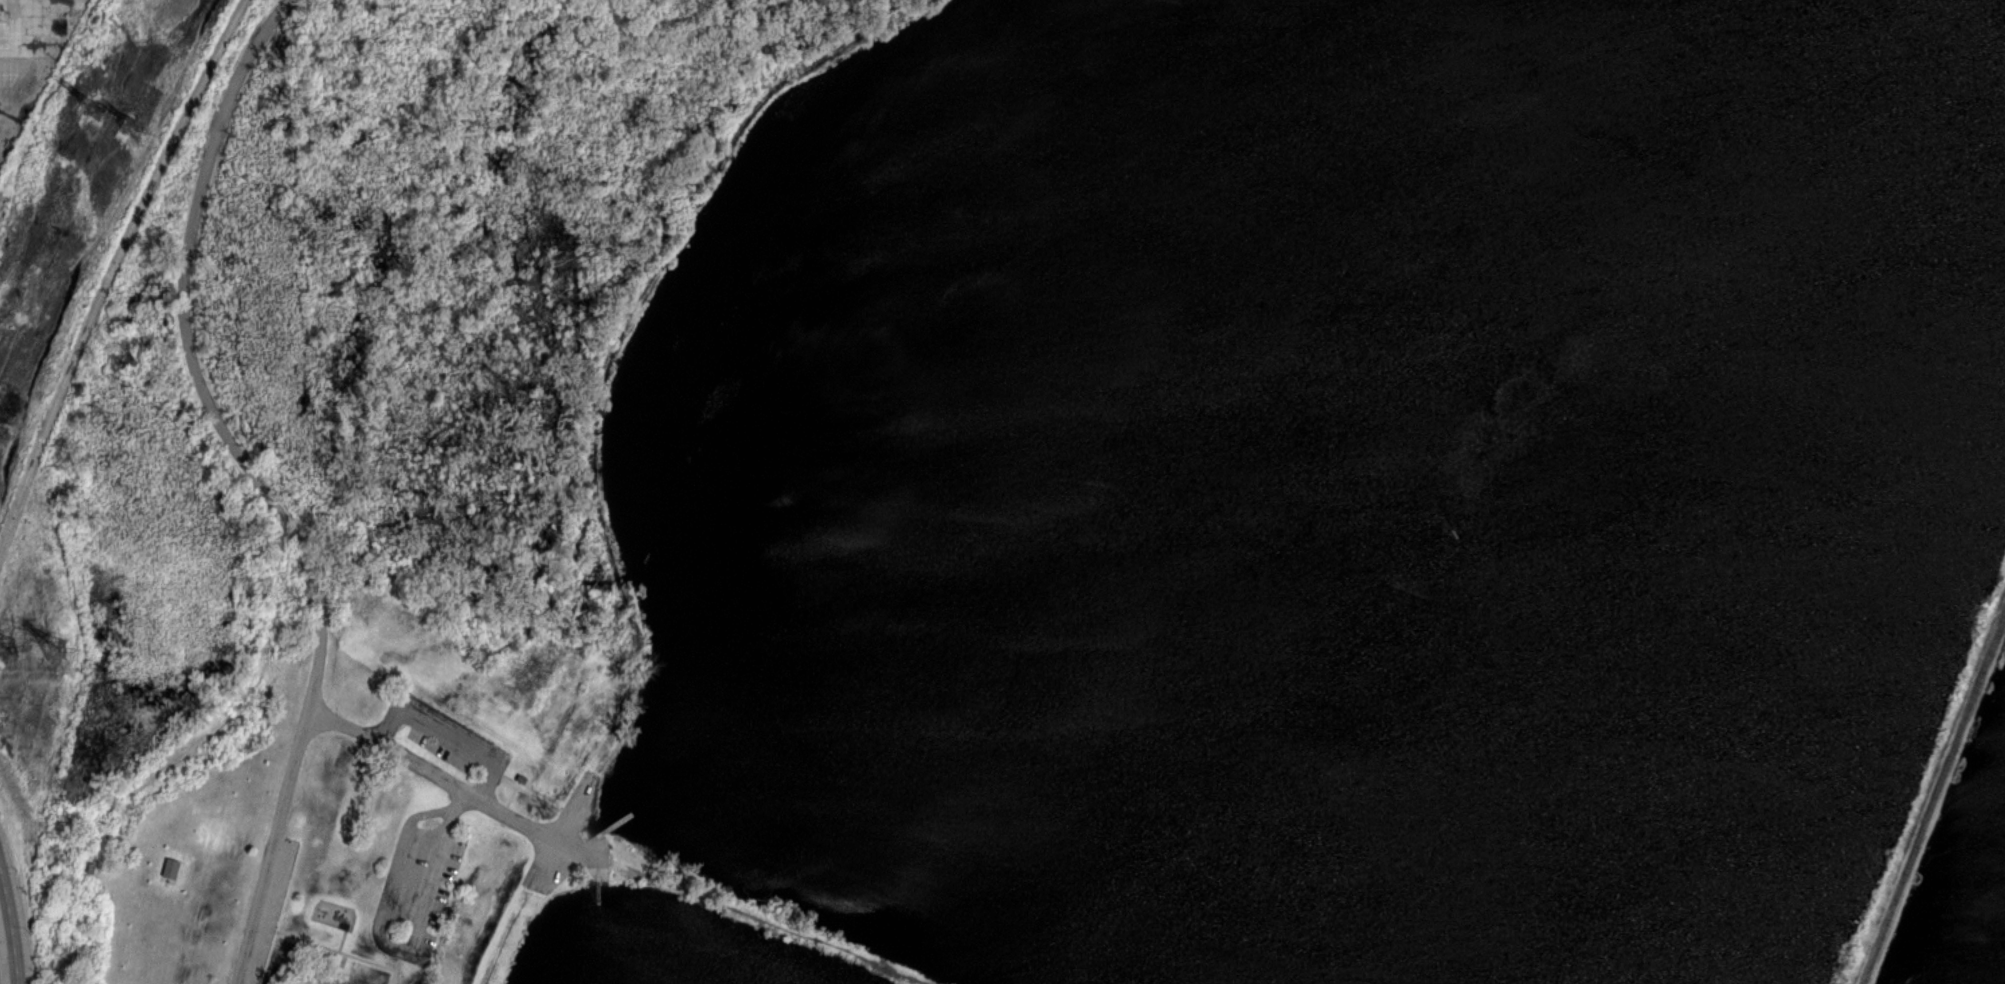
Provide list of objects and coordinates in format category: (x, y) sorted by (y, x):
power tower: (94, 111)
power tower: (134, 127)
road: (114, 273)
road: (259, 483)
park: (1029, 500)
power tower: (11, 651)
power tower: (59, 654)
road: (446, 736)
parking lot: (445, 740)
road: (454, 782)
road: (517, 784)
road: (539, 797)
railway: (1934, 799)
road: (595, 828)
building: (90, 867)
building: (172, 867)
road: (598, 878)
parking lot: (420, 880)
road: (762, 918)
road: (342, 939)
road: (331, 947)
road: (398, 951)
road: (2, 960)
road: (396, 963)

